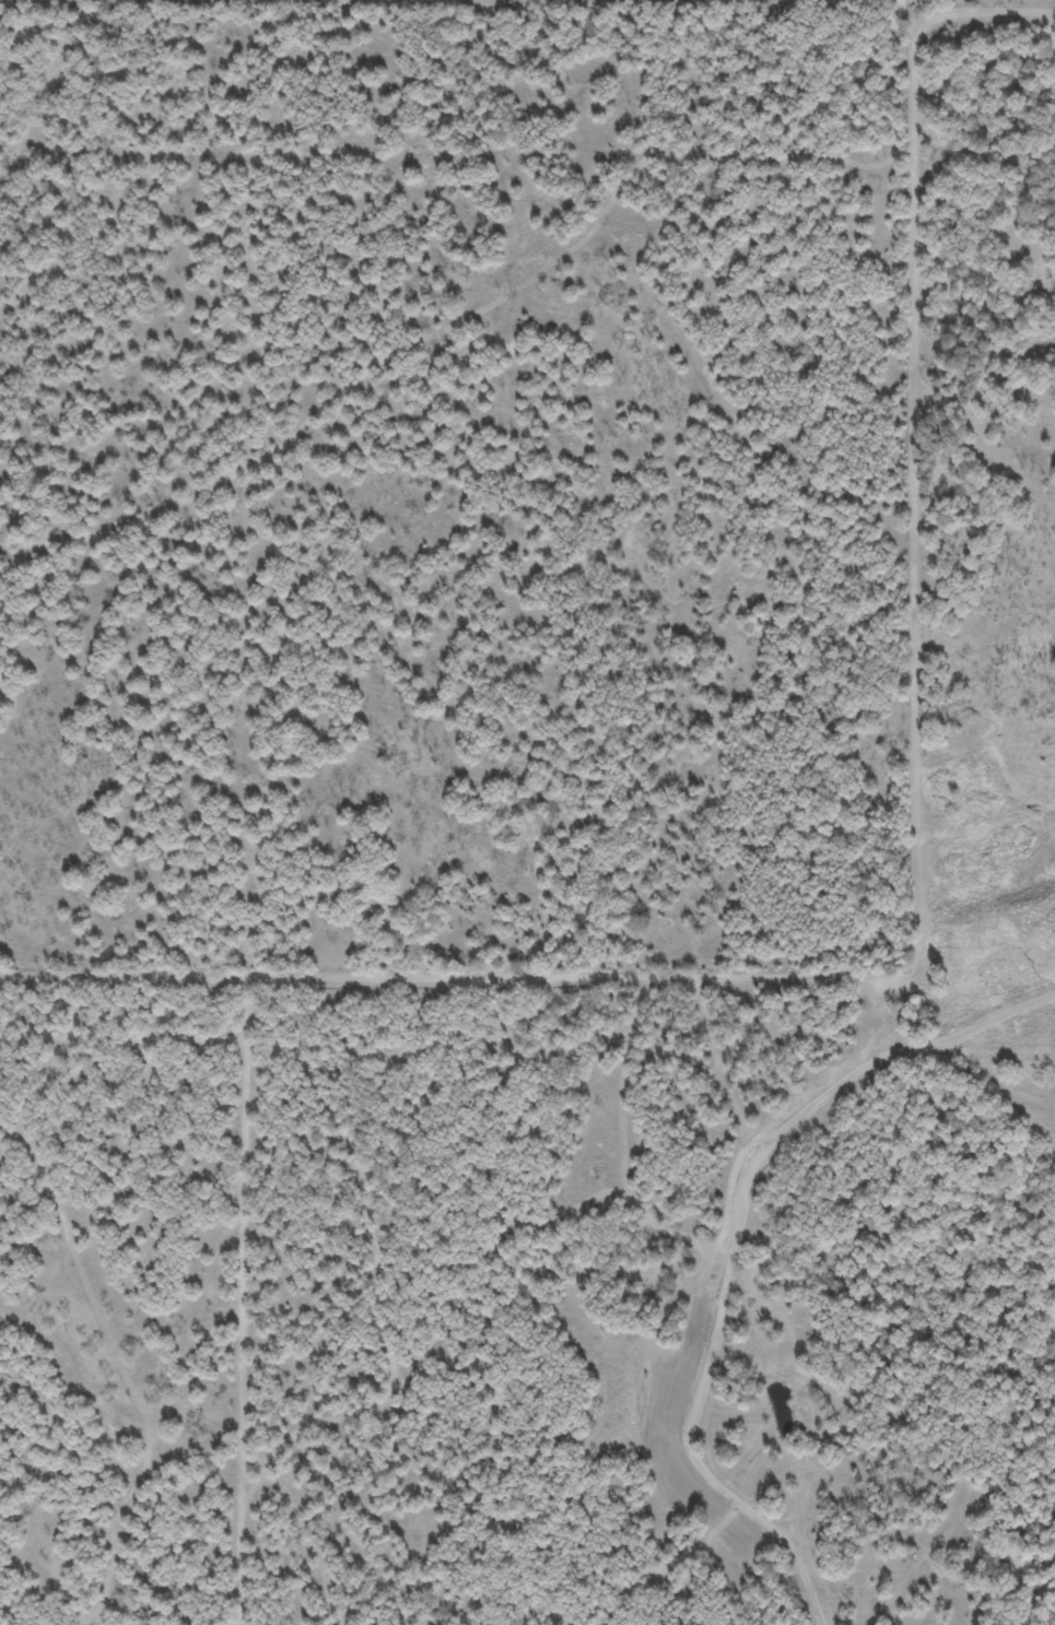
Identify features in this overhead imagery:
road: (743, 1319)

